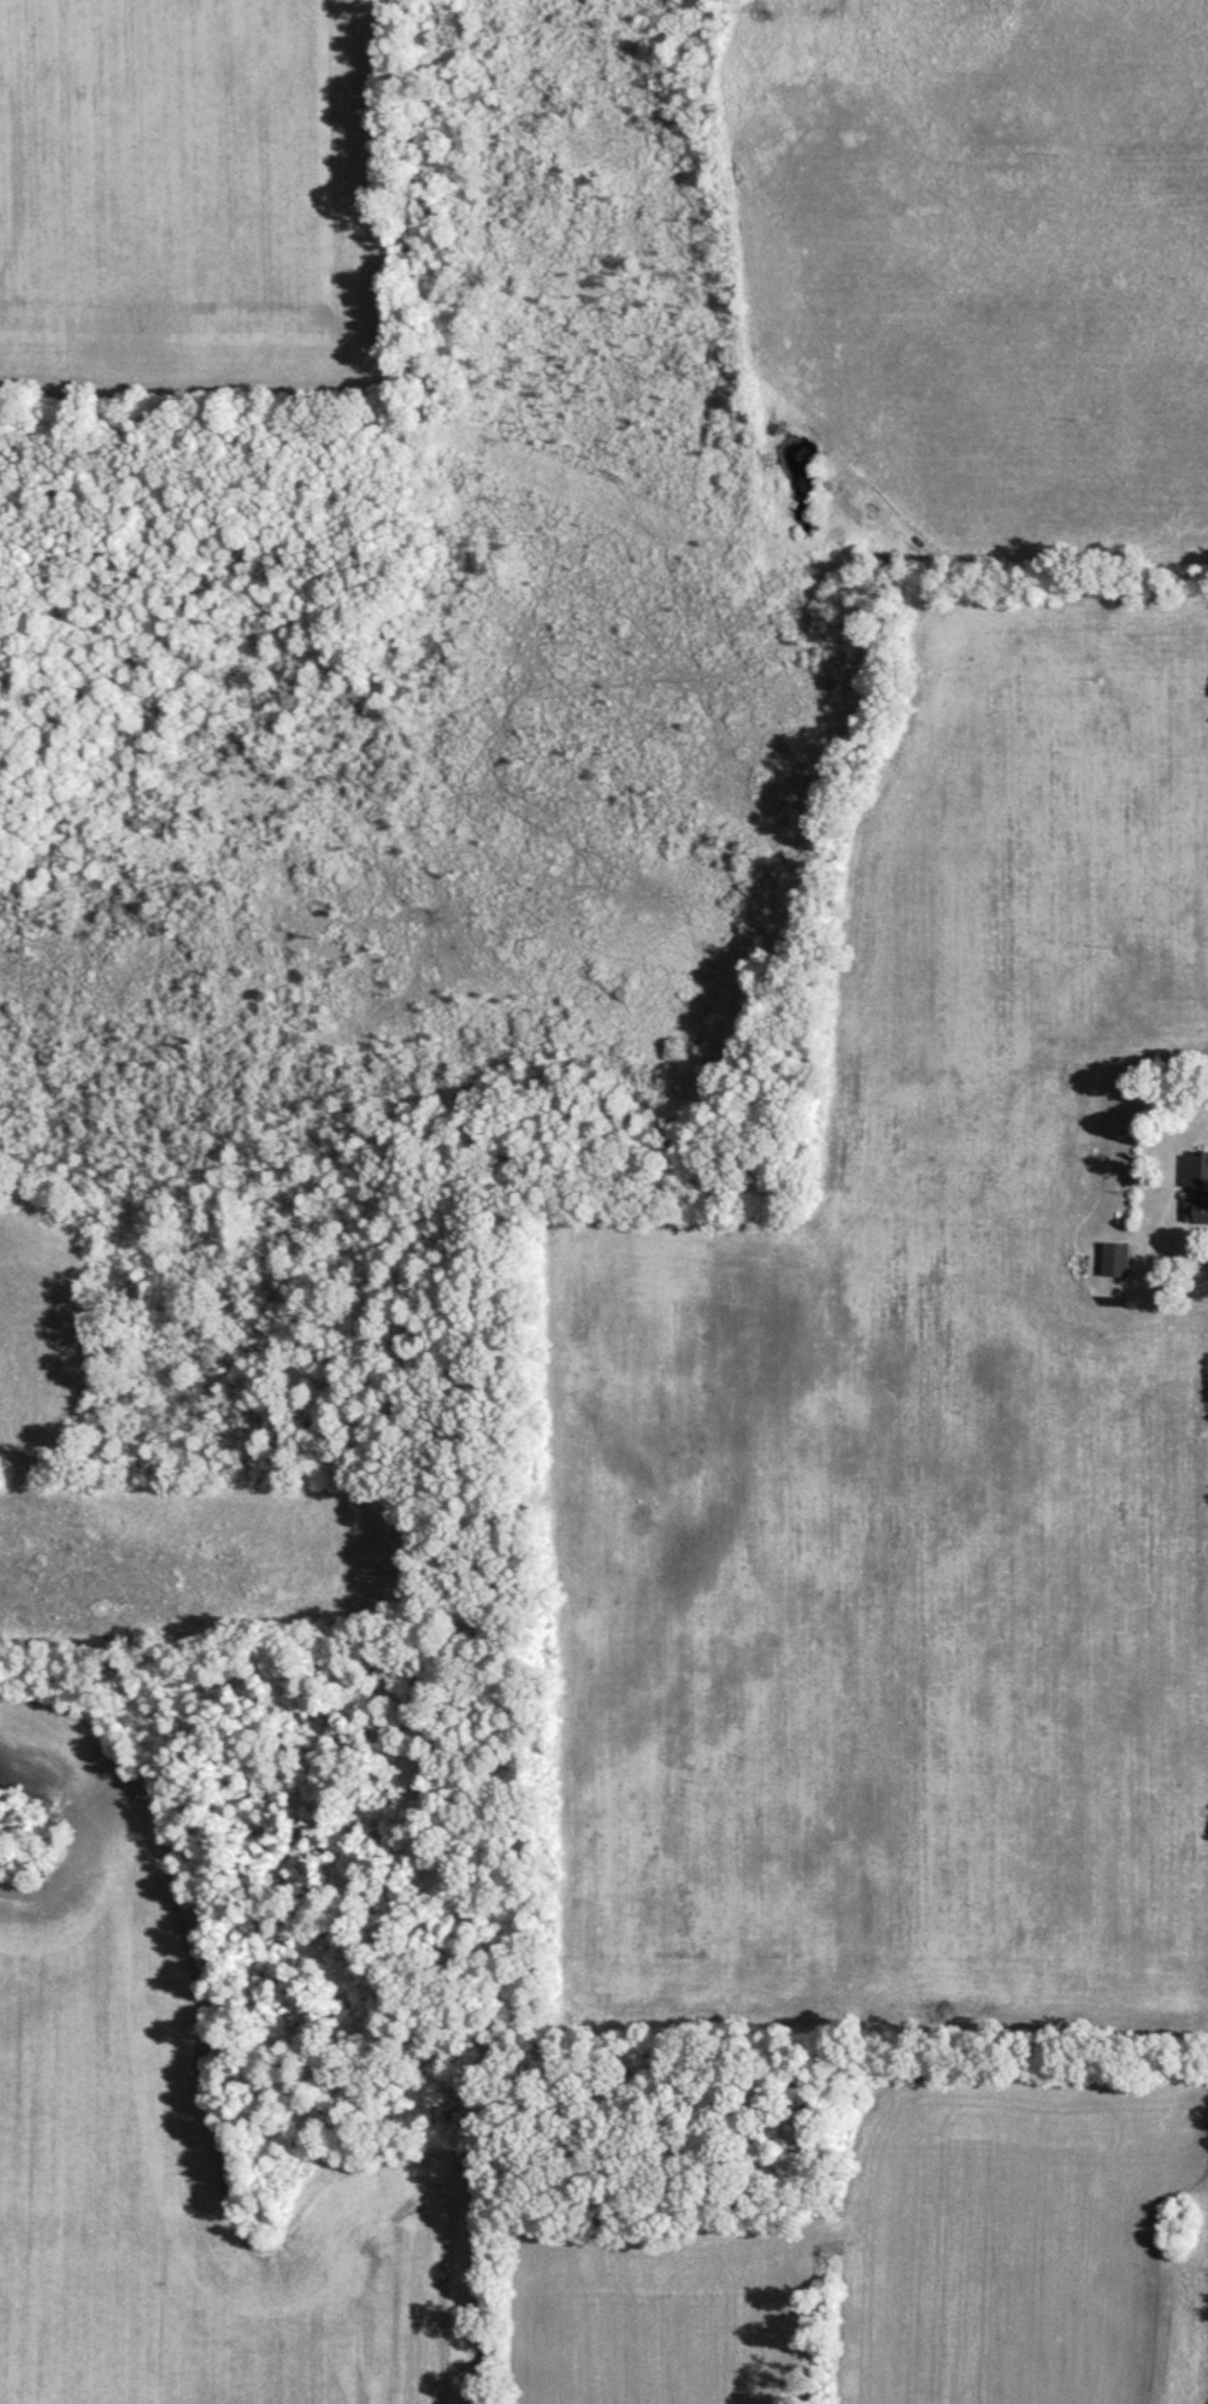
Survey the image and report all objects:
building: (1201, 1189)
building: (1115, 1257)

